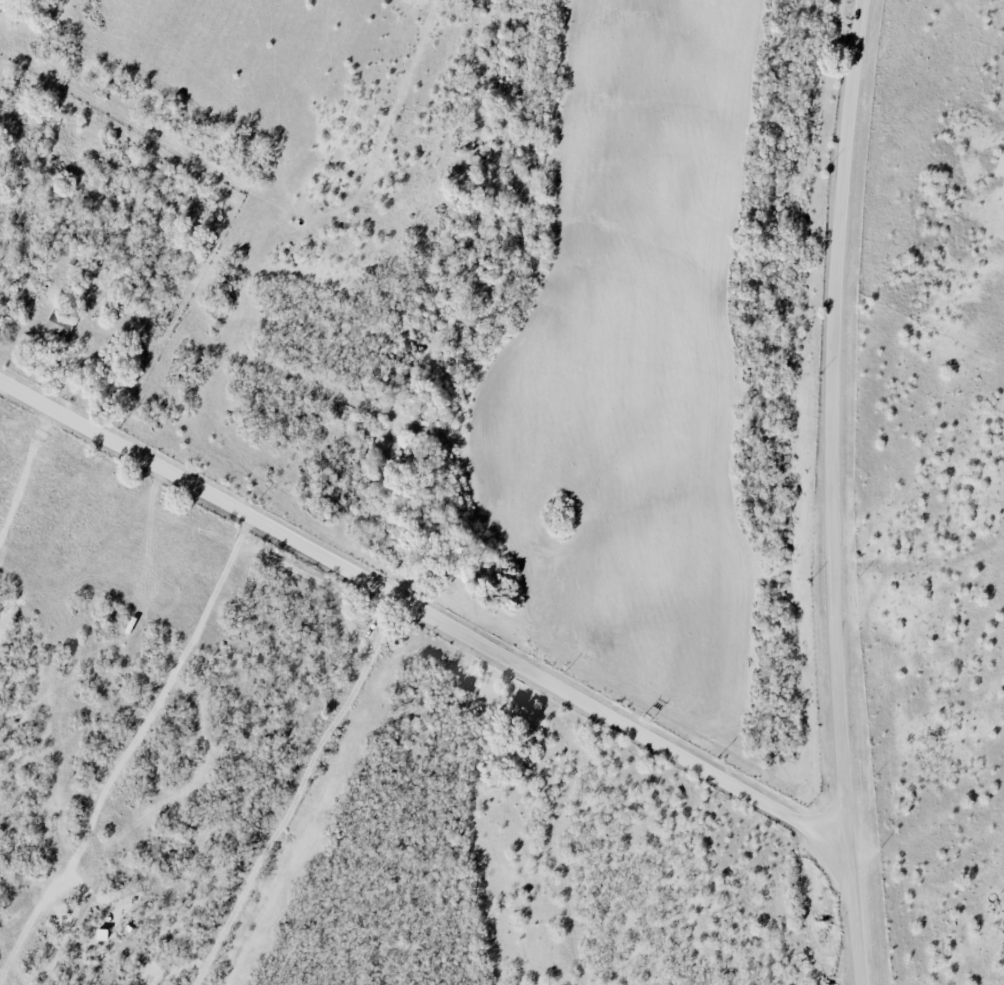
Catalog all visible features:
building: (60, 322)
road: (839, 405)
road: (412, 605)
road: (838, 823)
road: (853, 909)

